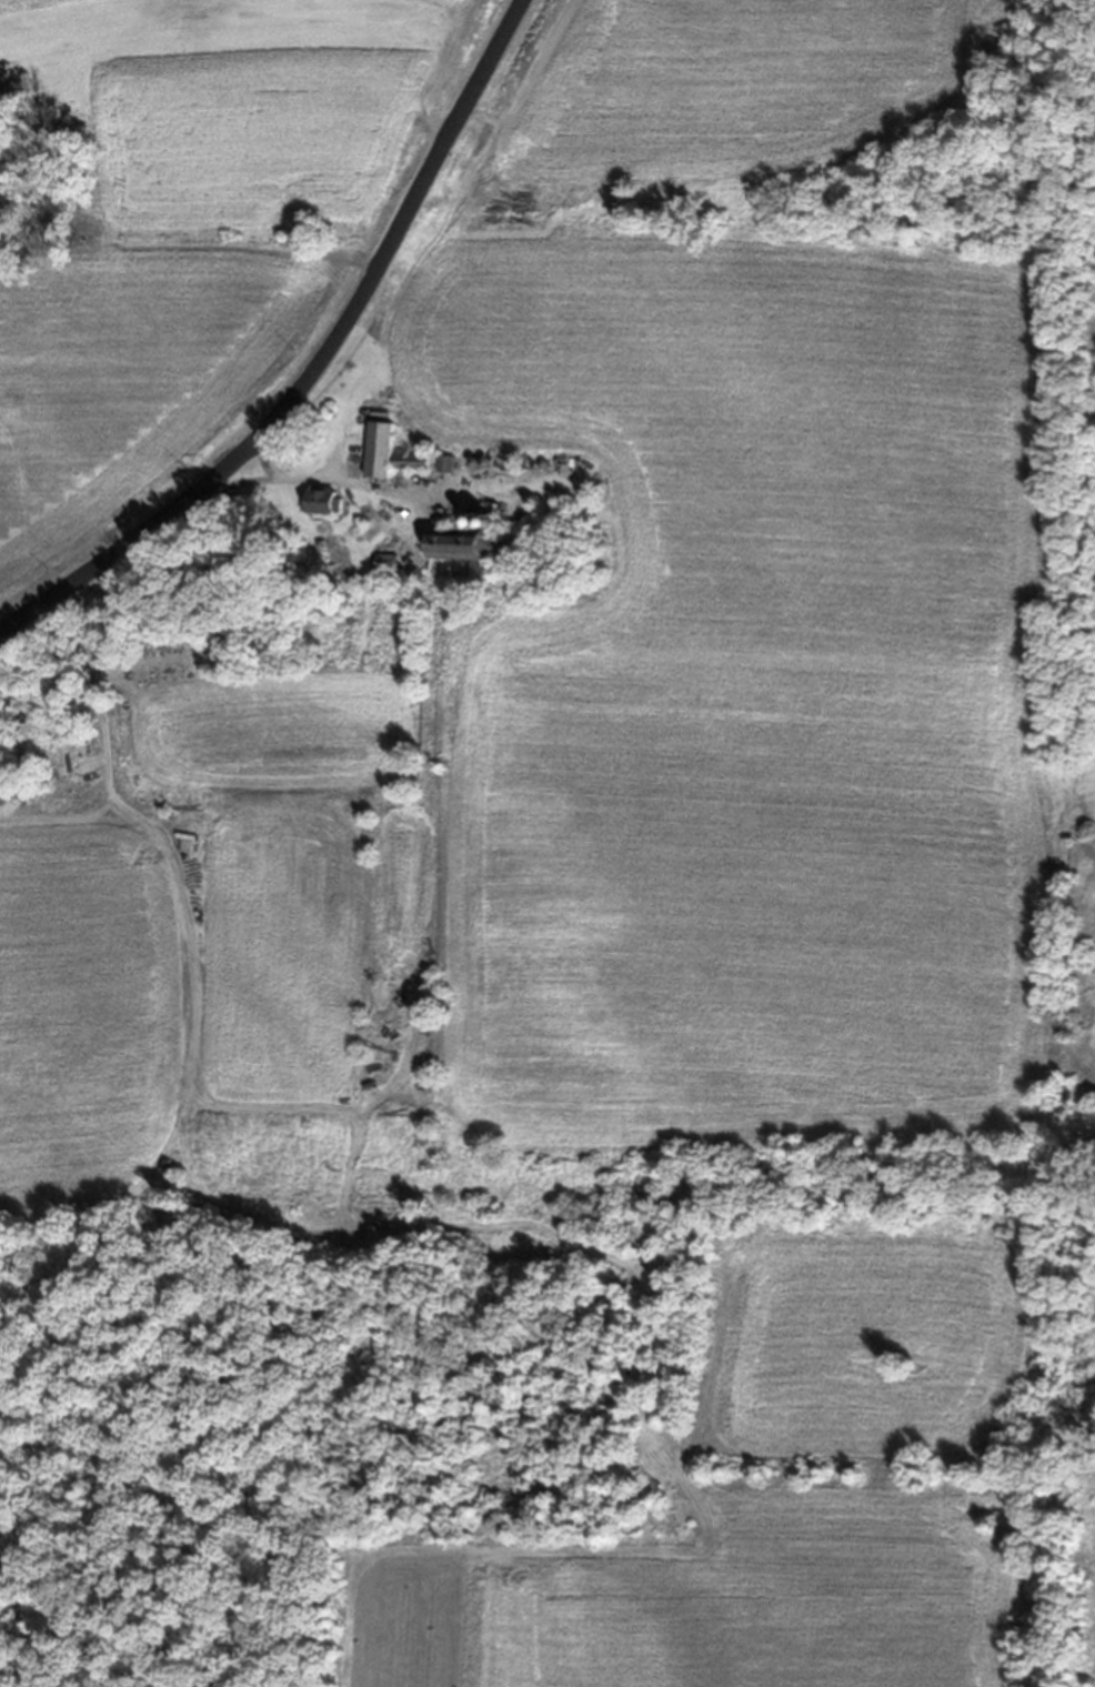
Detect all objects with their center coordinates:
road: (313, 359)
building: (371, 460)
building: (455, 566)
road: (104, 706)

